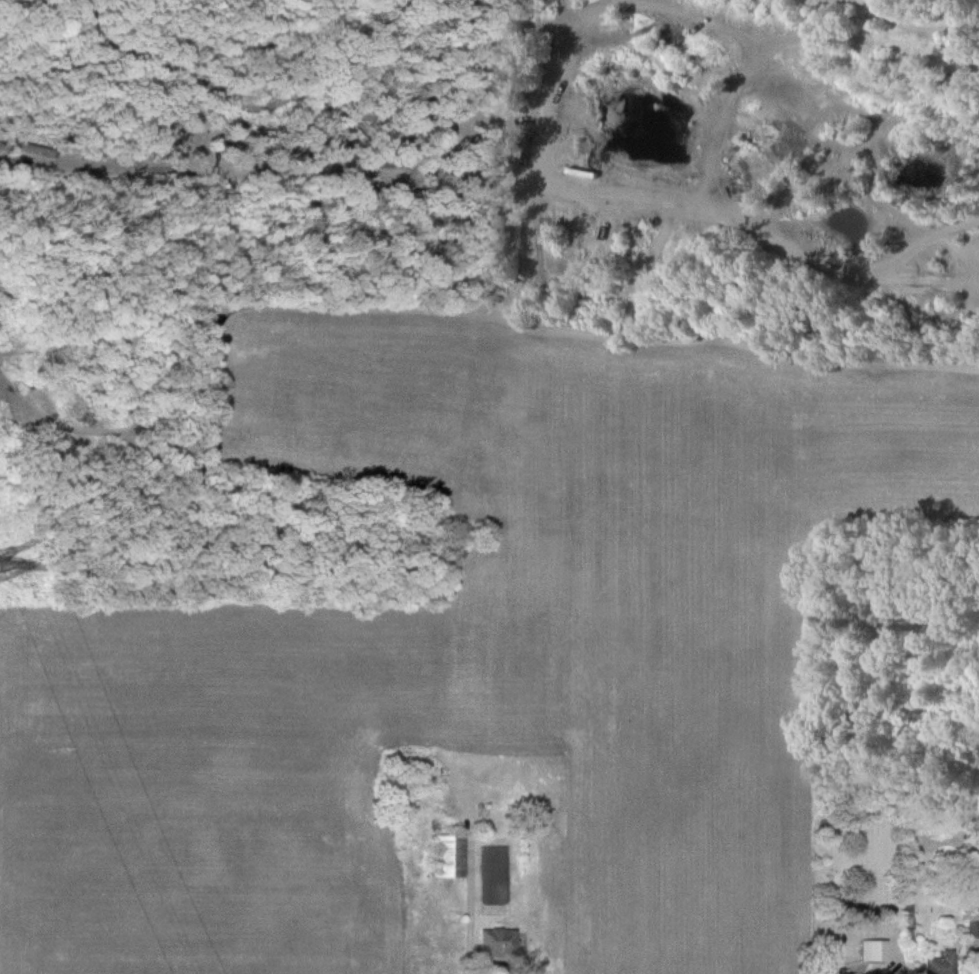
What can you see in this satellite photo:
building: (965, 819)
building: (447, 854)
building: (973, 923)
building: (496, 941)
road: (503, 962)
building: (940, 963)
building: (841, 973)

